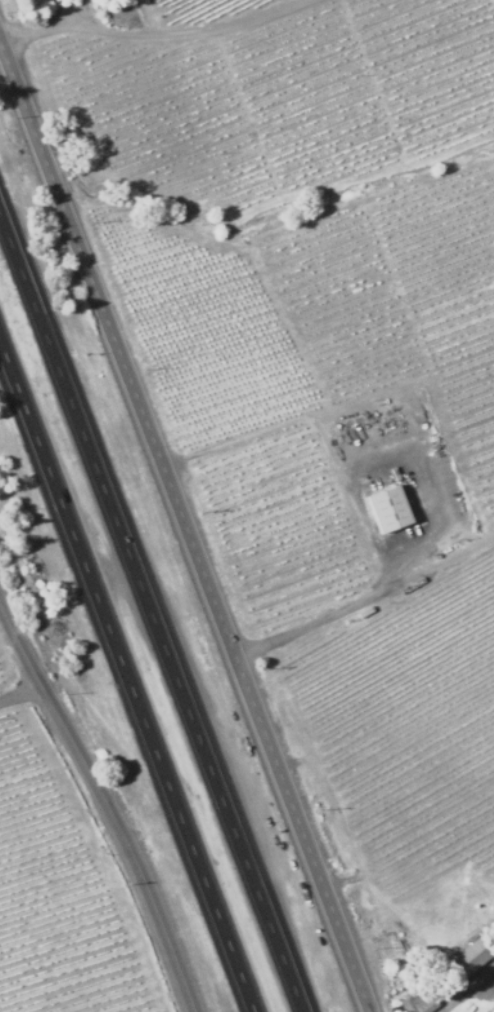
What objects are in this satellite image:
road: (165, 41)
building: (381, 509)
road: (188, 530)
road: (154, 605)
road: (127, 674)
road: (26, 701)
road: (100, 790)
building: (467, 960)
road: (468, 989)
building: (416, 1002)

